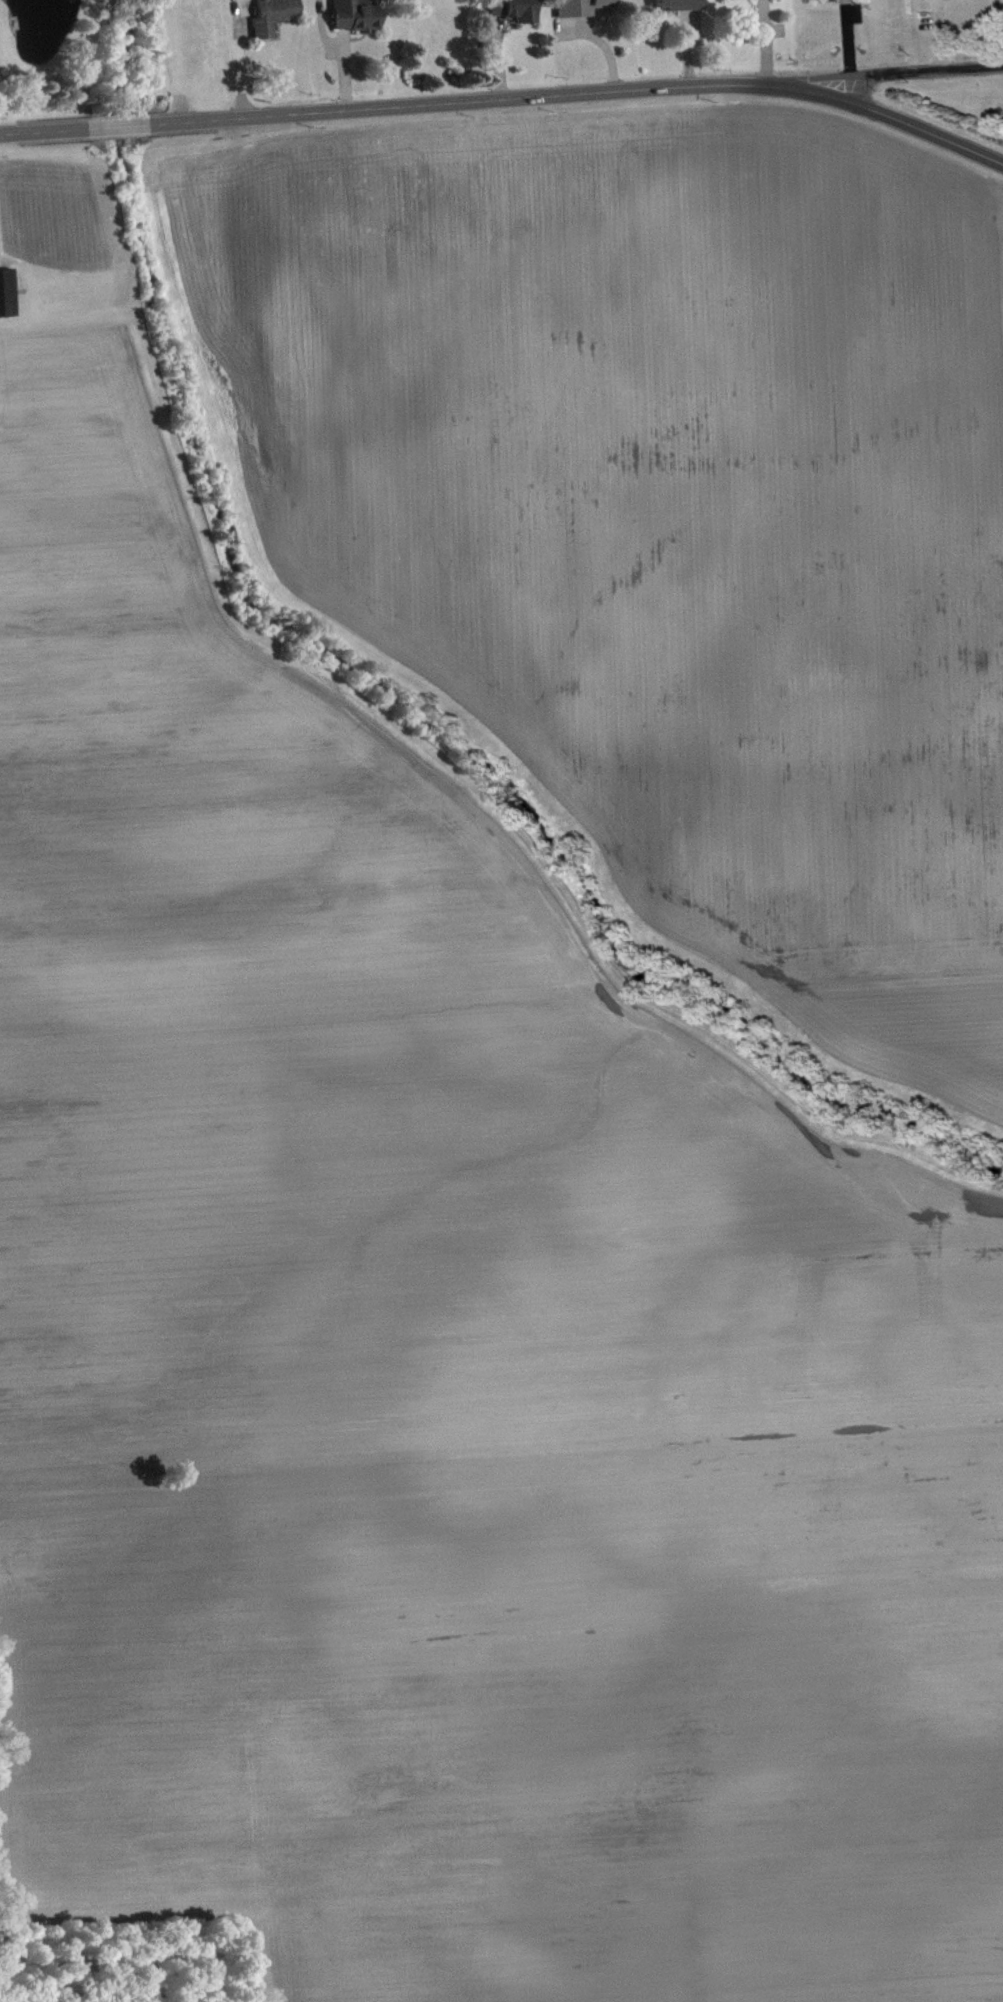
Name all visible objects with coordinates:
building: (769, 1)
building: (819, 1)
building: (683, 7)
building: (584, 9)
building: (516, 12)
building: (276, 19)
building: (358, 19)
road: (935, 68)
road: (807, 78)
road: (855, 85)
road: (477, 103)
road: (906, 123)
road: (119, 128)
road: (44, 132)
building: (7, 297)

